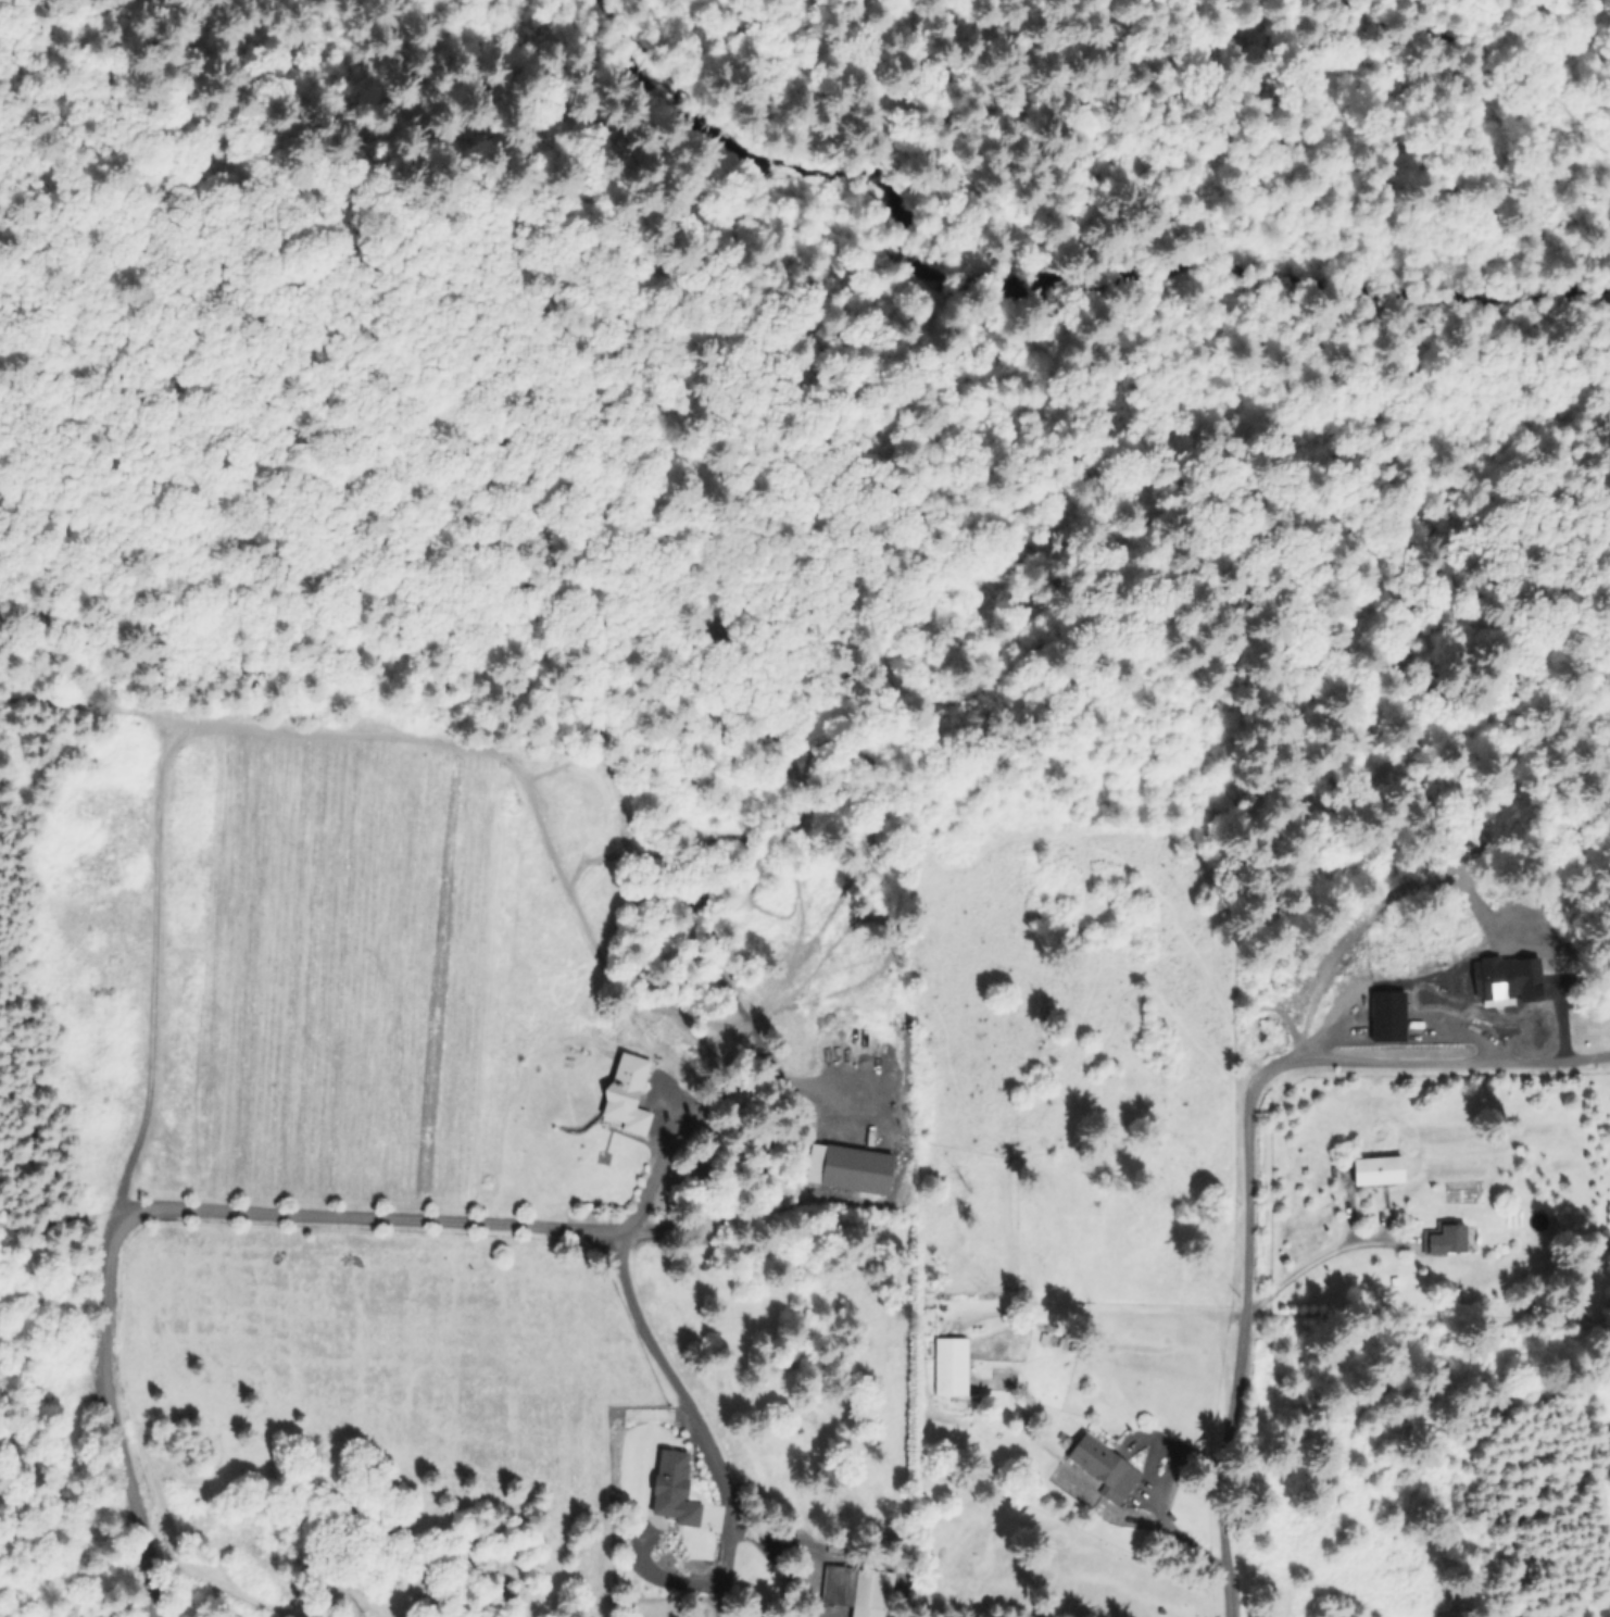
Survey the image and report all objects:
road: (1543, 18)
road: (1316, 1062)
building: (629, 1095)
road: (692, 1103)
building: (856, 1170)
building: (1380, 1170)
road: (158, 1206)
building: (1408, 1207)
building: (1448, 1240)
road: (1312, 1264)
building: (949, 1365)
road: (670, 1379)
building: (684, 1459)
road: (1222, 1463)
building: (1106, 1467)
building: (841, 1585)

